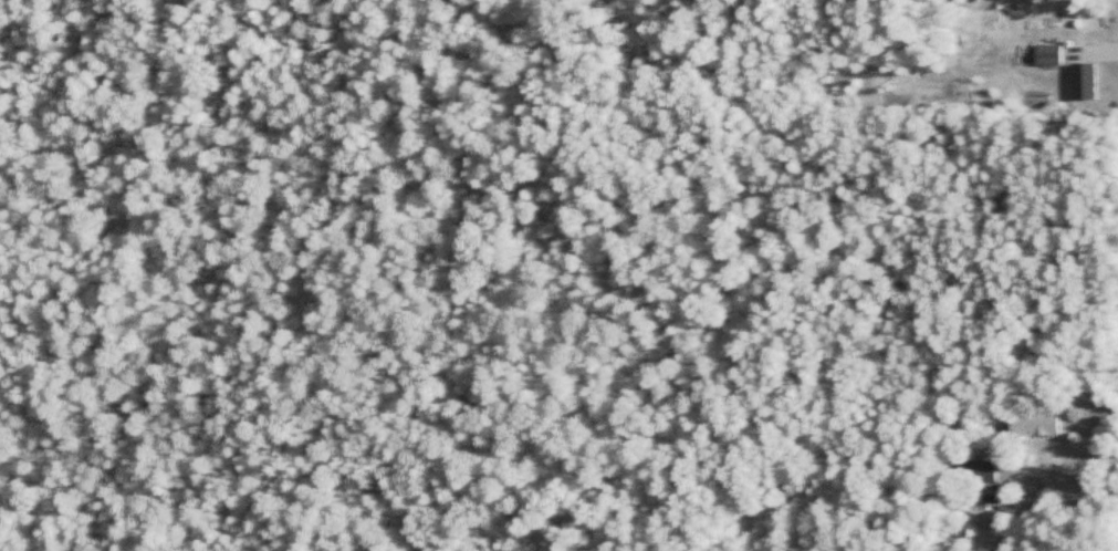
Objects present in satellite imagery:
building: (1047, 54)
building: (1082, 76)
building: (1034, 423)
building: (978, 469)
road: (1066, 479)

